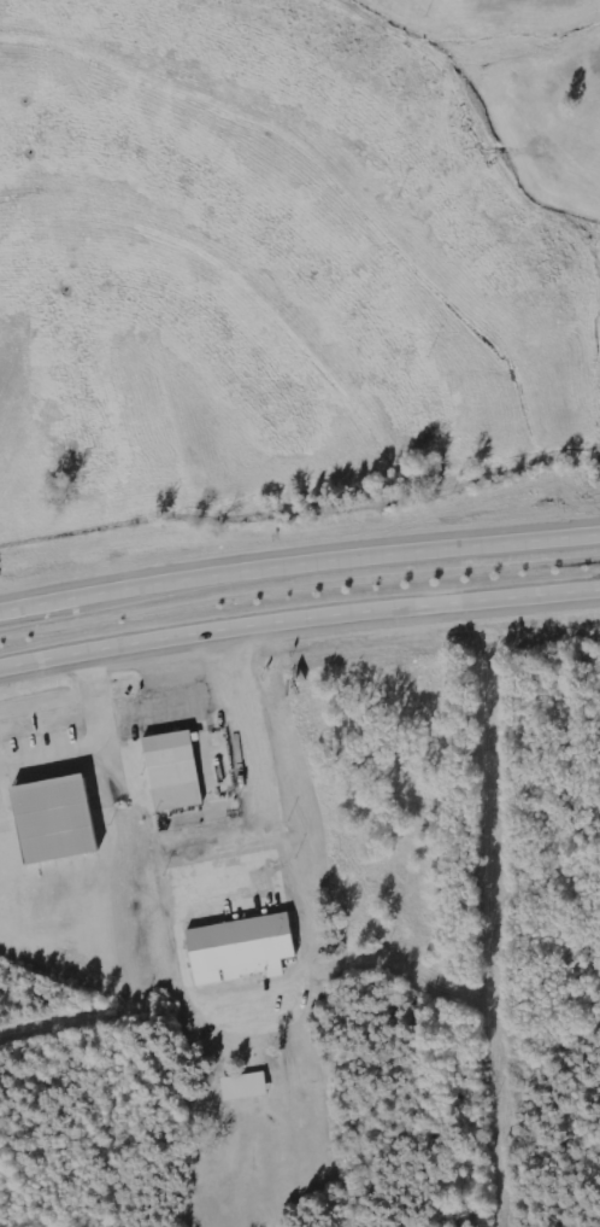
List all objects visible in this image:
road: (298, 549)
road: (298, 614)
building: (170, 772)
building: (53, 820)
building: (237, 950)
building: (243, 1086)

